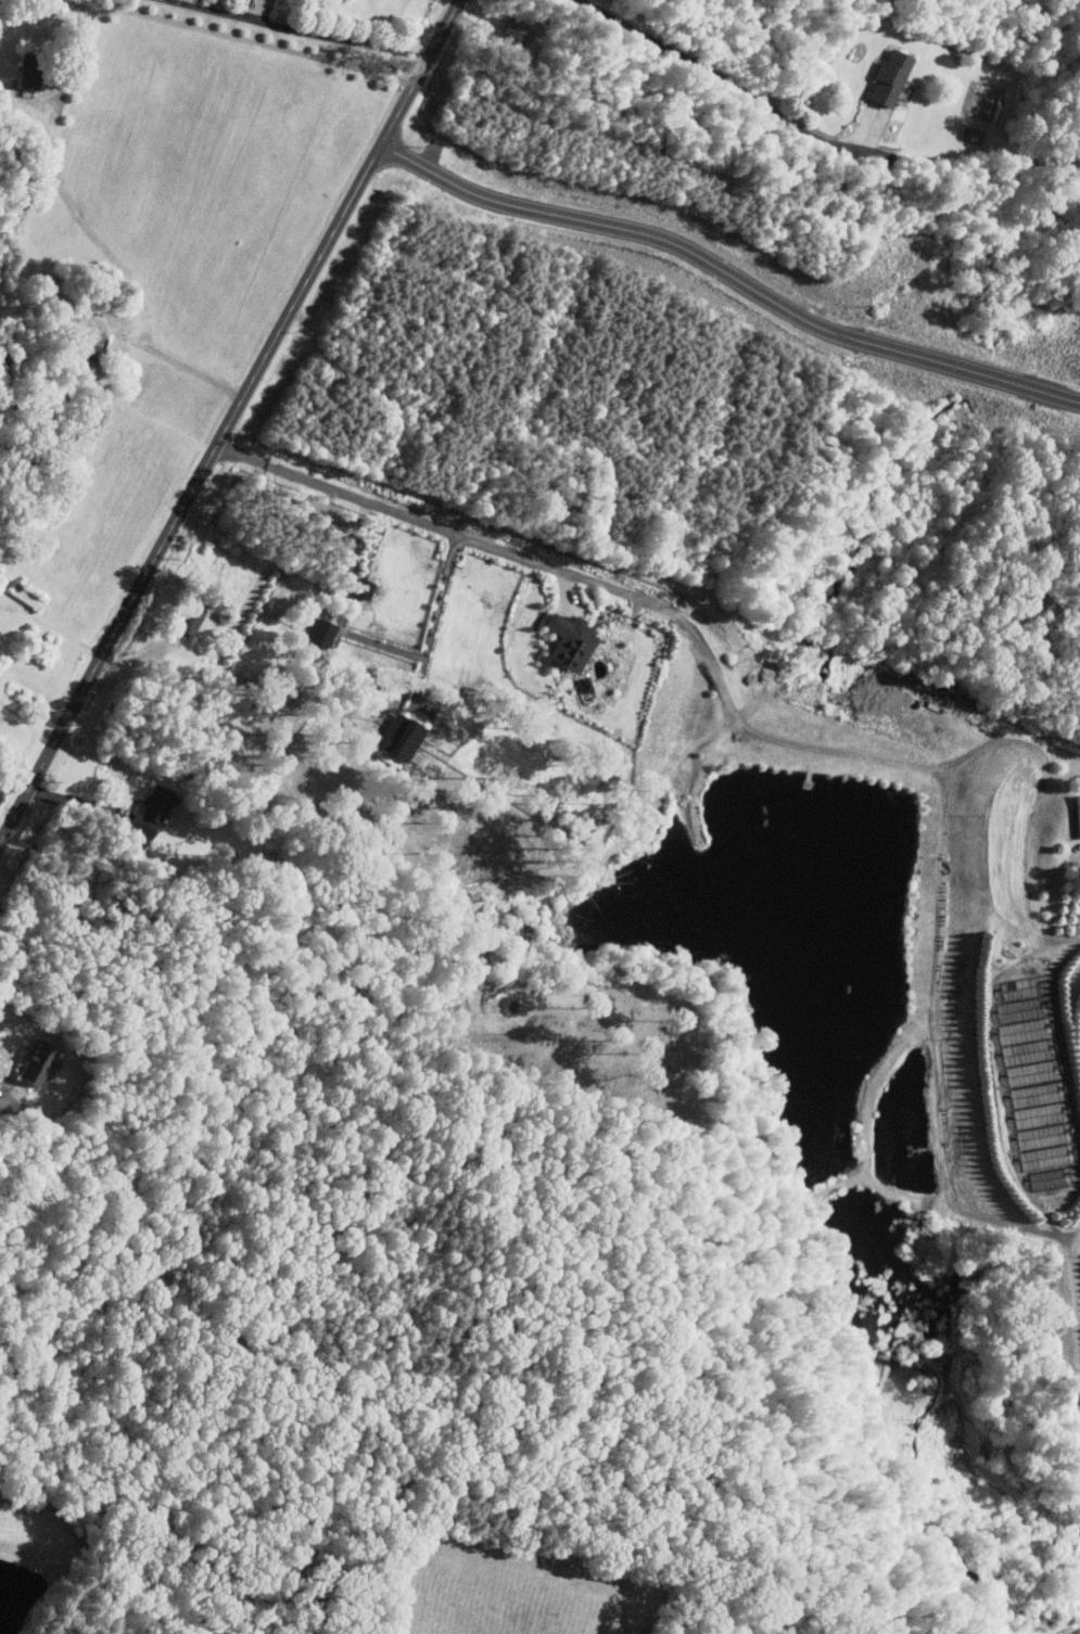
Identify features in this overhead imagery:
road: (211, 30)
road: (340, 38)
building: (34, 71)
road: (720, 76)
building: (884, 79)
building: (970, 135)
road: (729, 271)
road: (185, 363)
park: (719, 396)
road: (230, 422)
road: (435, 616)
building: (193, 617)
building: (323, 631)
building: (574, 640)
road: (725, 689)
road: (79, 802)
building: (154, 808)
building: (1075, 815)
building: (41, 1060)
building: (1031, 1082)
road: (1033, 1199)
road: (1049, 1225)
road: (1073, 1304)
dam: (49, 1550)
dam: (102, 1553)

